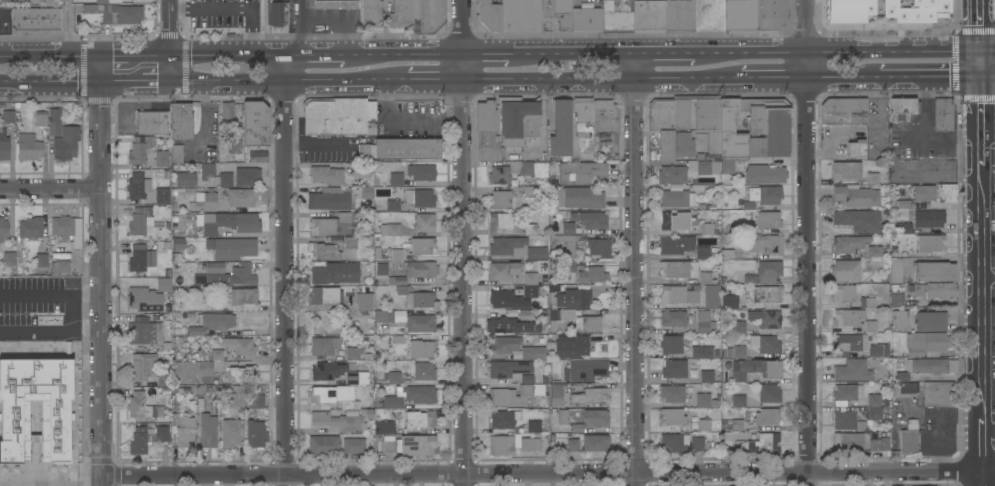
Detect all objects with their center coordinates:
building: (40, 2)
building: (101, 2)
road: (300, 3)
building: (335, 4)
road: (344, 4)
building: (871, 7)
road: (234, 8)
building: (917, 10)
parking lot: (226, 12)
building: (845, 12)
building: (115, 13)
building: (277, 13)
building: (371, 13)
road: (344, 15)
building: (417, 16)
building: (648, 16)
building: (755, 16)
building: (535, 17)
building: (4, 20)
building: (35, 20)
road: (338, 21)
road: (805, 25)
road: (978, 25)
road: (67, 27)
road: (298, 29)
road: (172, 40)
road: (986, 49)
road: (891, 50)
traffic signals: (978, 50)
road: (663, 51)
road: (749, 51)
road: (548, 52)
road: (228, 53)
road: (374, 53)
road: (34, 54)
road: (84, 54)
traffic signals: (101, 54)
road: (136, 54)
traffic signals: (172, 54)
road: (978, 63)
road: (805, 64)
road: (286, 67)
road: (100, 68)
road: (986, 75)
road: (928, 76)
traffic signals: (978, 76)
road: (633, 77)
road: (841, 77)
road: (432, 80)
road: (120, 81)
road: (156, 81)
traffic signals: (172, 81)
road: (287, 81)
road: (50, 82)
traffic signals: (100, 82)
building: (17, 105)
building: (2, 106)
building: (902, 109)
building: (843, 111)
building: (582, 113)
building: (681, 113)
building: (943, 114)
building: (227, 115)
building: (334, 116)
building: (604, 116)
building: (8, 117)
building: (17, 118)
road: (207, 118)
building: (41, 119)
building: (151, 122)
building: (180, 122)
building: (518, 122)
building: (255, 124)
road: (979, 124)
building: (707, 126)
building: (662, 127)
building: (560, 129)
building: (752, 131)
building: (487, 133)
road: (987, 135)
building: (62, 136)
building: (683, 145)
building: (4, 146)
building: (29, 147)
building: (235, 147)
building: (407, 149)
building: (856, 149)
building: (139, 150)
building: (363, 150)
building: (176, 154)
building: (161, 159)
building: (708, 168)
building: (534, 169)
building: (206, 171)
building: (363, 171)
building: (846, 171)
building: (421, 173)
building: (580, 173)
building: (764, 174)
building: (327, 175)
building: (499, 175)
building: (247, 176)
building: (674, 176)
building: (873, 179)
building: (185, 180)
building: (225, 180)
building: (395, 180)
building: (137, 186)
road: (50, 189)
building: (528, 192)
building: (367, 193)
building: (947, 193)
building: (924, 194)
building: (161, 195)
building: (765, 195)
building: (856, 196)
building: (242, 197)
building: (420, 198)
building: (579, 198)
building: (674, 198)
building: (500, 200)
building: (328, 201)
building: (203, 202)
building: (903, 204)
building: (746, 205)
building: (392, 206)
building: (701, 207)
building: (380, 215)
building: (174, 218)
building: (929, 219)
building: (590, 220)
building: (768, 220)
building: (859, 220)
building: (138, 221)
building: (500, 222)
building: (677, 222)
building: (228, 223)
building: (424, 223)
building: (167, 225)
building: (333, 225)
building: (62, 227)
building: (30, 228)
building: (903, 228)
building: (3, 229)
building: (567, 229)
building: (707, 229)
building: (738, 229)
building: (386, 230)
building: (530, 230)
building: (350, 243)
road: (462, 243)
building: (930, 243)
building: (177, 244)
building: (848, 244)
building: (505, 245)
building: (675, 245)
building: (764, 245)
building: (423, 246)
building: (571, 246)
building: (599, 247)
building: (231, 248)
building: (538, 250)
building: (323, 252)
building: (875, 252)
building: (377, 253)
building: (702, 253)
building: (727, 254)
building: (397, 255)
building: (140, 258)
building: (9, 259)
building: (41, 263)
building: (877, 264)
building: (567, 266)
building: (59, 267)
road: (634, 268)
building: (769, 269)
building: (679, 270)
building: (895, 270)
building: (503, 271)
building: (846, 271)
building: (934, 271)
building: (167, 272)
building: (414, 272)
building: (230, 274)
building: (336, 274)
building: (592, 275)
building: (709, 278)
building: (530, 279)
building: (748, 279)
road: (806, 281)
building: (2, 283)
road: (101, 283)
road: (287, 283)
building: (163, 285)
building: (554, 288)
building: (935, 290)
building: (530, 291)
road: (982, 291)
road: (50, 293)
building: (843, 293)
building: (672, 294)
building: (766, 295)
building: (243, 296)
building: (322, 296)
building: (711, 296)
building: (416, 298)
building: (501, 299)
building: (573, 299)
building: (144, 300)
building: (896, 300)
building: (364, 301)
building: (729, 302)
building: (867, 303)
building: (216, 304)
building: (364, 313)
building: (524, 315)
building: (383, 316)
building: (847, 317)
building: (673, 319)
building: (765, 319)
building: (576, 320)
building: (900, 320)
building: (930, 321)
building: (211, 323)
building: (420, 323)
building: (704, 323)
building: (500, 325)
building: (870, 326)
building: (738, 327)
building: (144, 332)
building: (397, 339)
building: (849, 343)
building: (503, 344)
building: (765, 344)
building: (925, 344)
building: (671, 345)
building: (240, 346)
building: (323, 346)
building: (571, 346)
building: (421, 349)
building: (878, 351)
building: (736, 352)
building: (534, 353)
building: (701, 353)
building: (352, 354)
building: (214, 355)
building: (141, 366)
building: (932, 366)
building: (206, 368)
building: (673, 369)
building: (755, 369)
building: (502, 370)
building: (587, 370)
building: (424, 371)
building: (853, 371)
building: (337, 373)
building: (241, 375)
building: (394, 376)
building: (707, 377)
building: (902, 377)
building: (529, 379)
building: (164, 383)
building: (907, 389)
building: (184, 391)
building: (769, 393)
building: (556, 394)
building: (672, 394)
building: (846, 394)
building: (938, 394)
building: (334, 396)
building: (410, 396)
building: (514, 396)
building: (237, 397)
building: (589, 397)
building: (703, 400)
building: (738, 401)
building: (257, 402)
building: (139, 405)
building: (200, 405)
building: (874, 407)
building: (562, 417)
building: (672, 417)
building: (766, 417)
building: (595, 418)
building: (504, 419)
building: (341, 420)
building: (420, 420)
building: (847, 421)
building: (704, 425)
building: (737, 425)
building: (369, 427)
building: (533, 427)
building: (388, 428)
building: (577, 428)
building: (207, 429)
building: (183, 430)
building: (57, 431)
building: (230, 433)
building: (256, 434)
building: (146, 438)
building: (909, 439)
road: (984, 439)
building: (674, 442)
building: (848, 442)
building: (595, 443)
building: (697, 444)
building: (759, 444)
building: (323, 445)
building: (501, 445)
building: (529, 445)
building: (572, 445)
building: (879, 445)
building: (353, 446)
building: (418, 446)
building: (388, 447)
road: (548, 472)
road: (984, 477)
road: (51, 485)
building: (898, 485)

